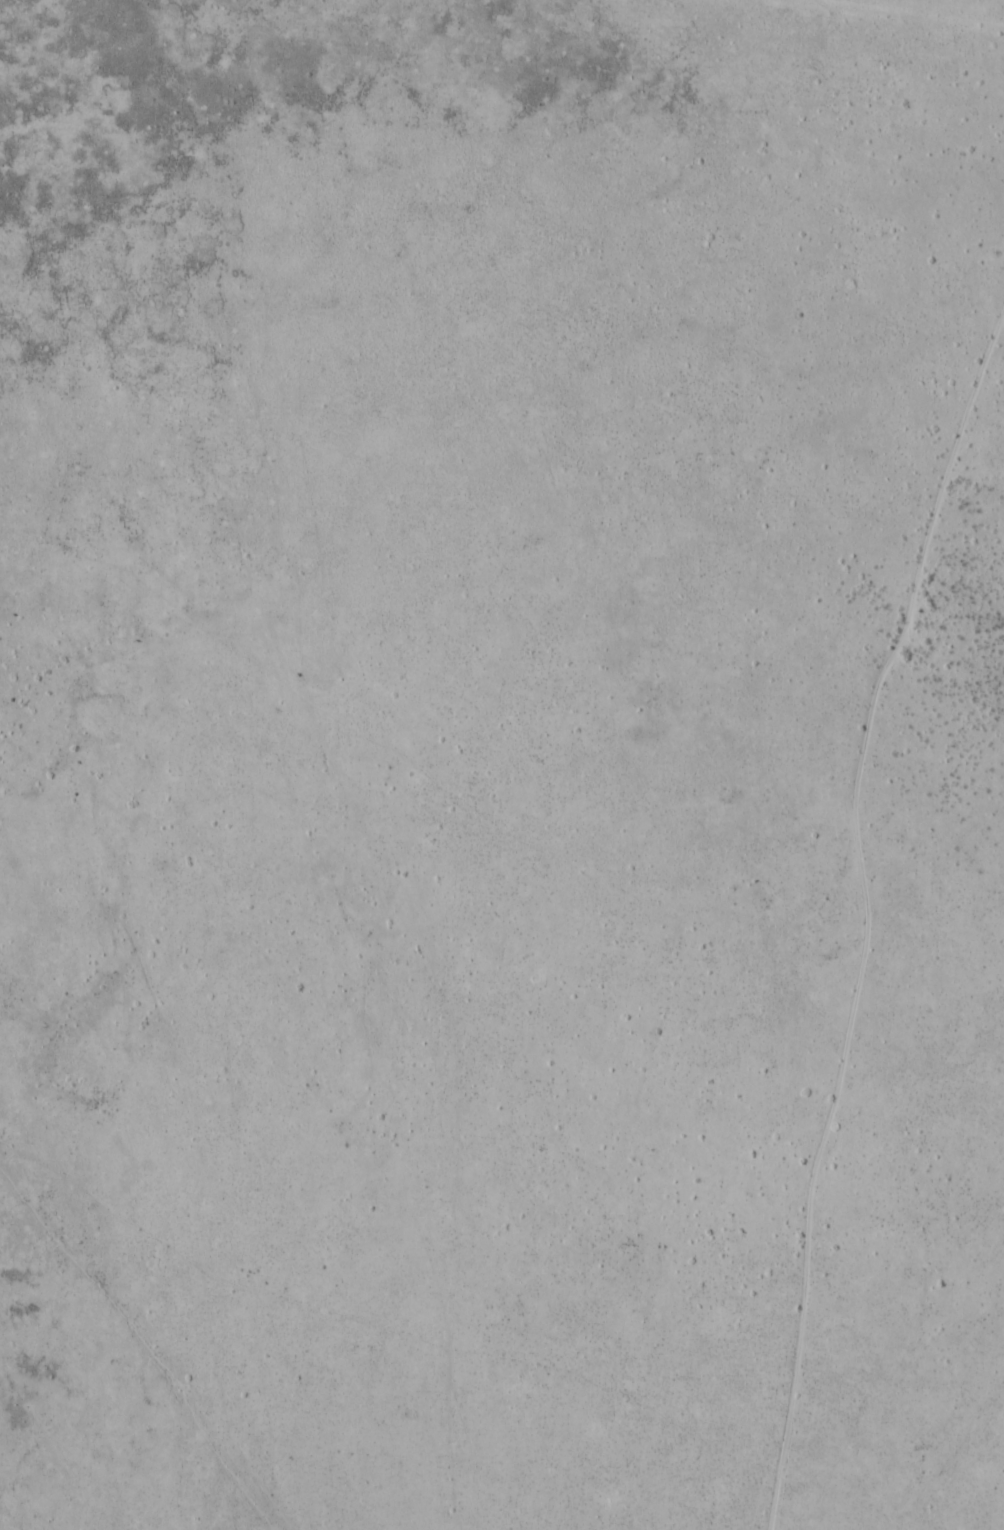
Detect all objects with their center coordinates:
road: (888, 977)

